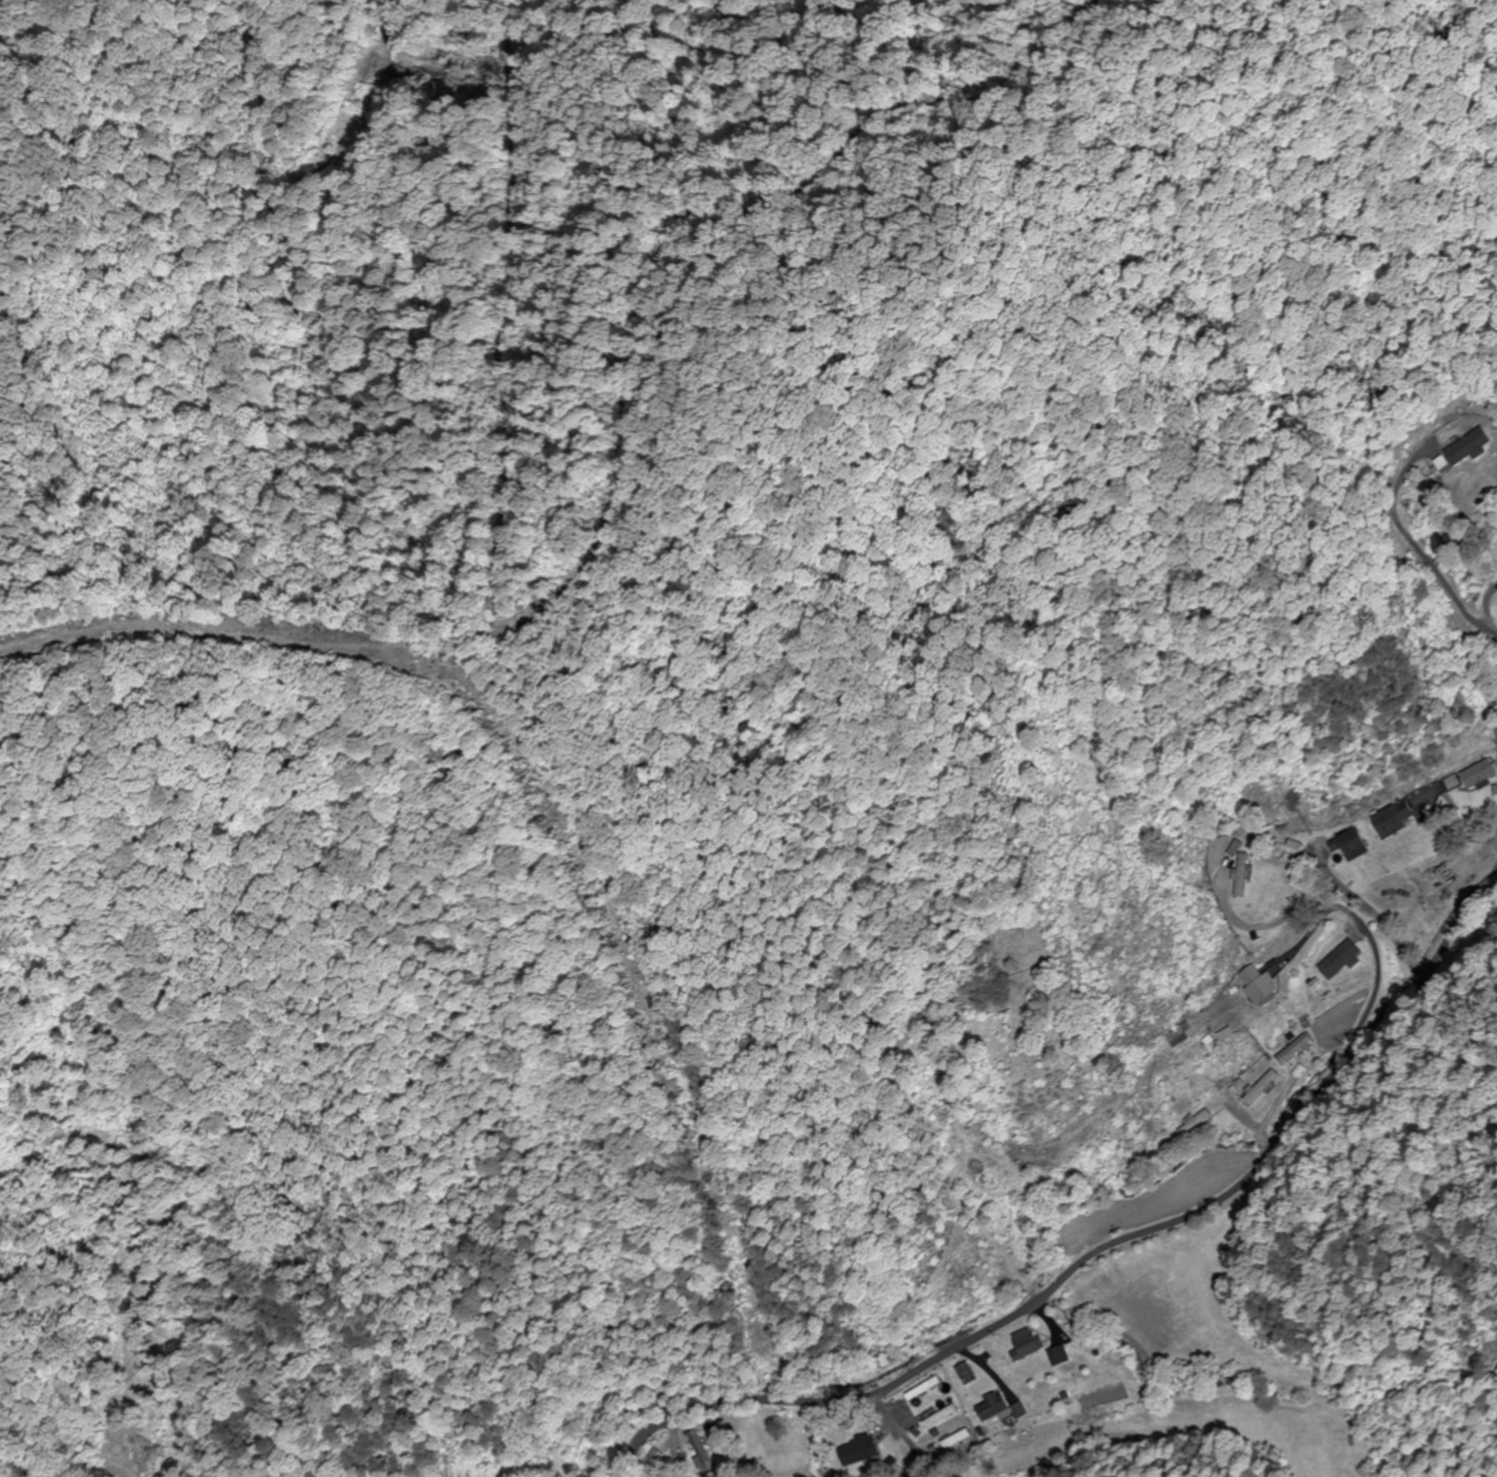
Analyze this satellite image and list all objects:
building: (1473, 448)
building: (1394, 822)
building: (1352, 845)
building: (1437, 869)
building: (1243, 875)
building: (1342, 959)
building: (1262, 986)
building: (1181, 1035)
building: (1294, 1050)
building: (1260, 1088)
building: (1195, 1125)
road: (1063, 1242)
building: (1027, 1344)
building: (1059, 1356)
building: (966, 1375)
building: (923, 1388)
building: (939, 1417)
building: (954, 1440)
building: (858, 1451)
building: (700, 1452)

